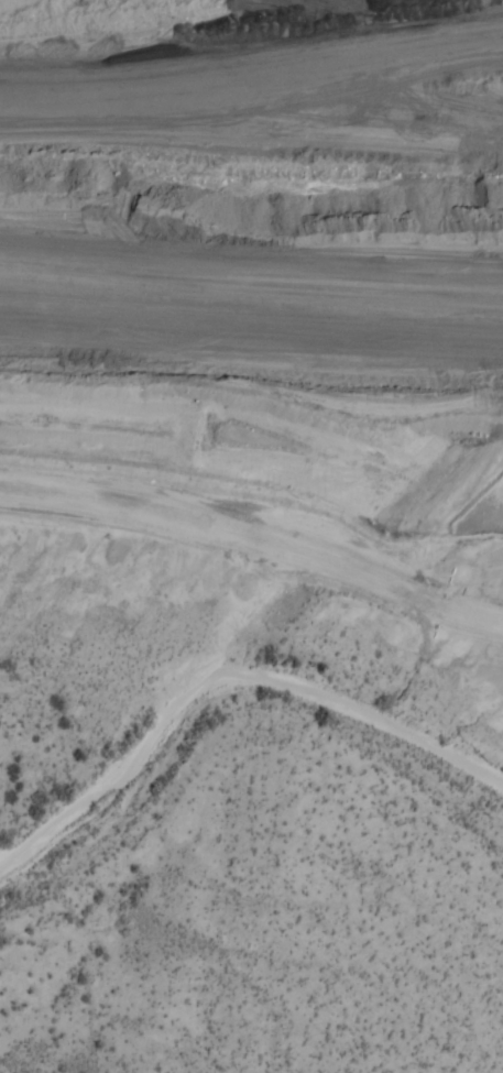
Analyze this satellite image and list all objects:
quarry: (255, 202)
road: (259, 529)
river: (233, 688)

